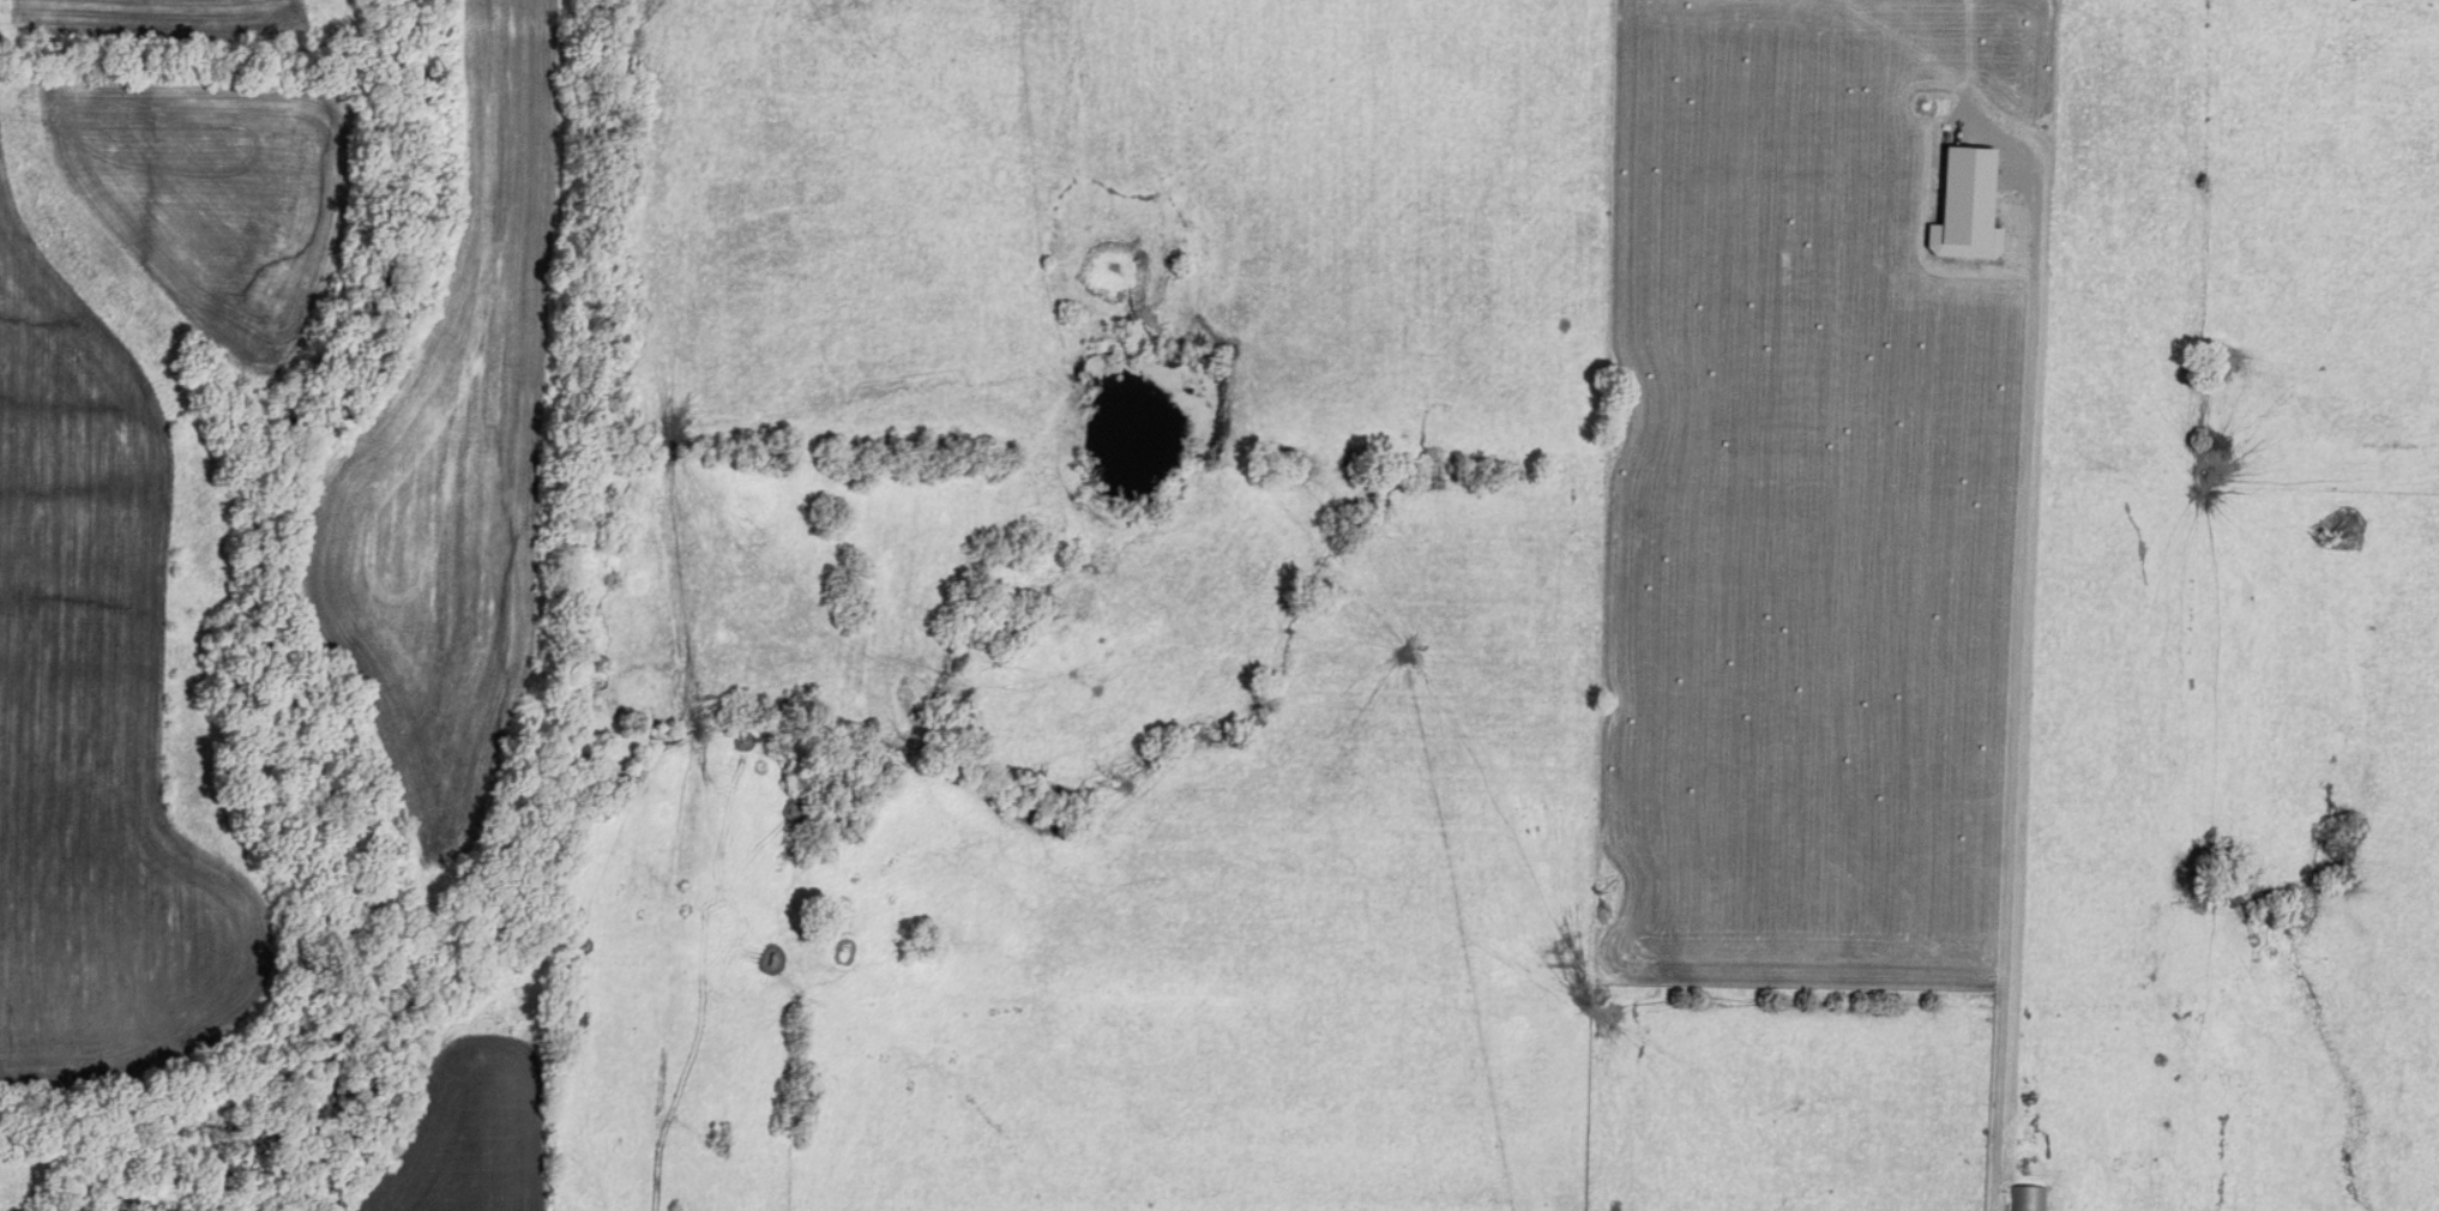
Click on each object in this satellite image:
building: (2027, 1199)

